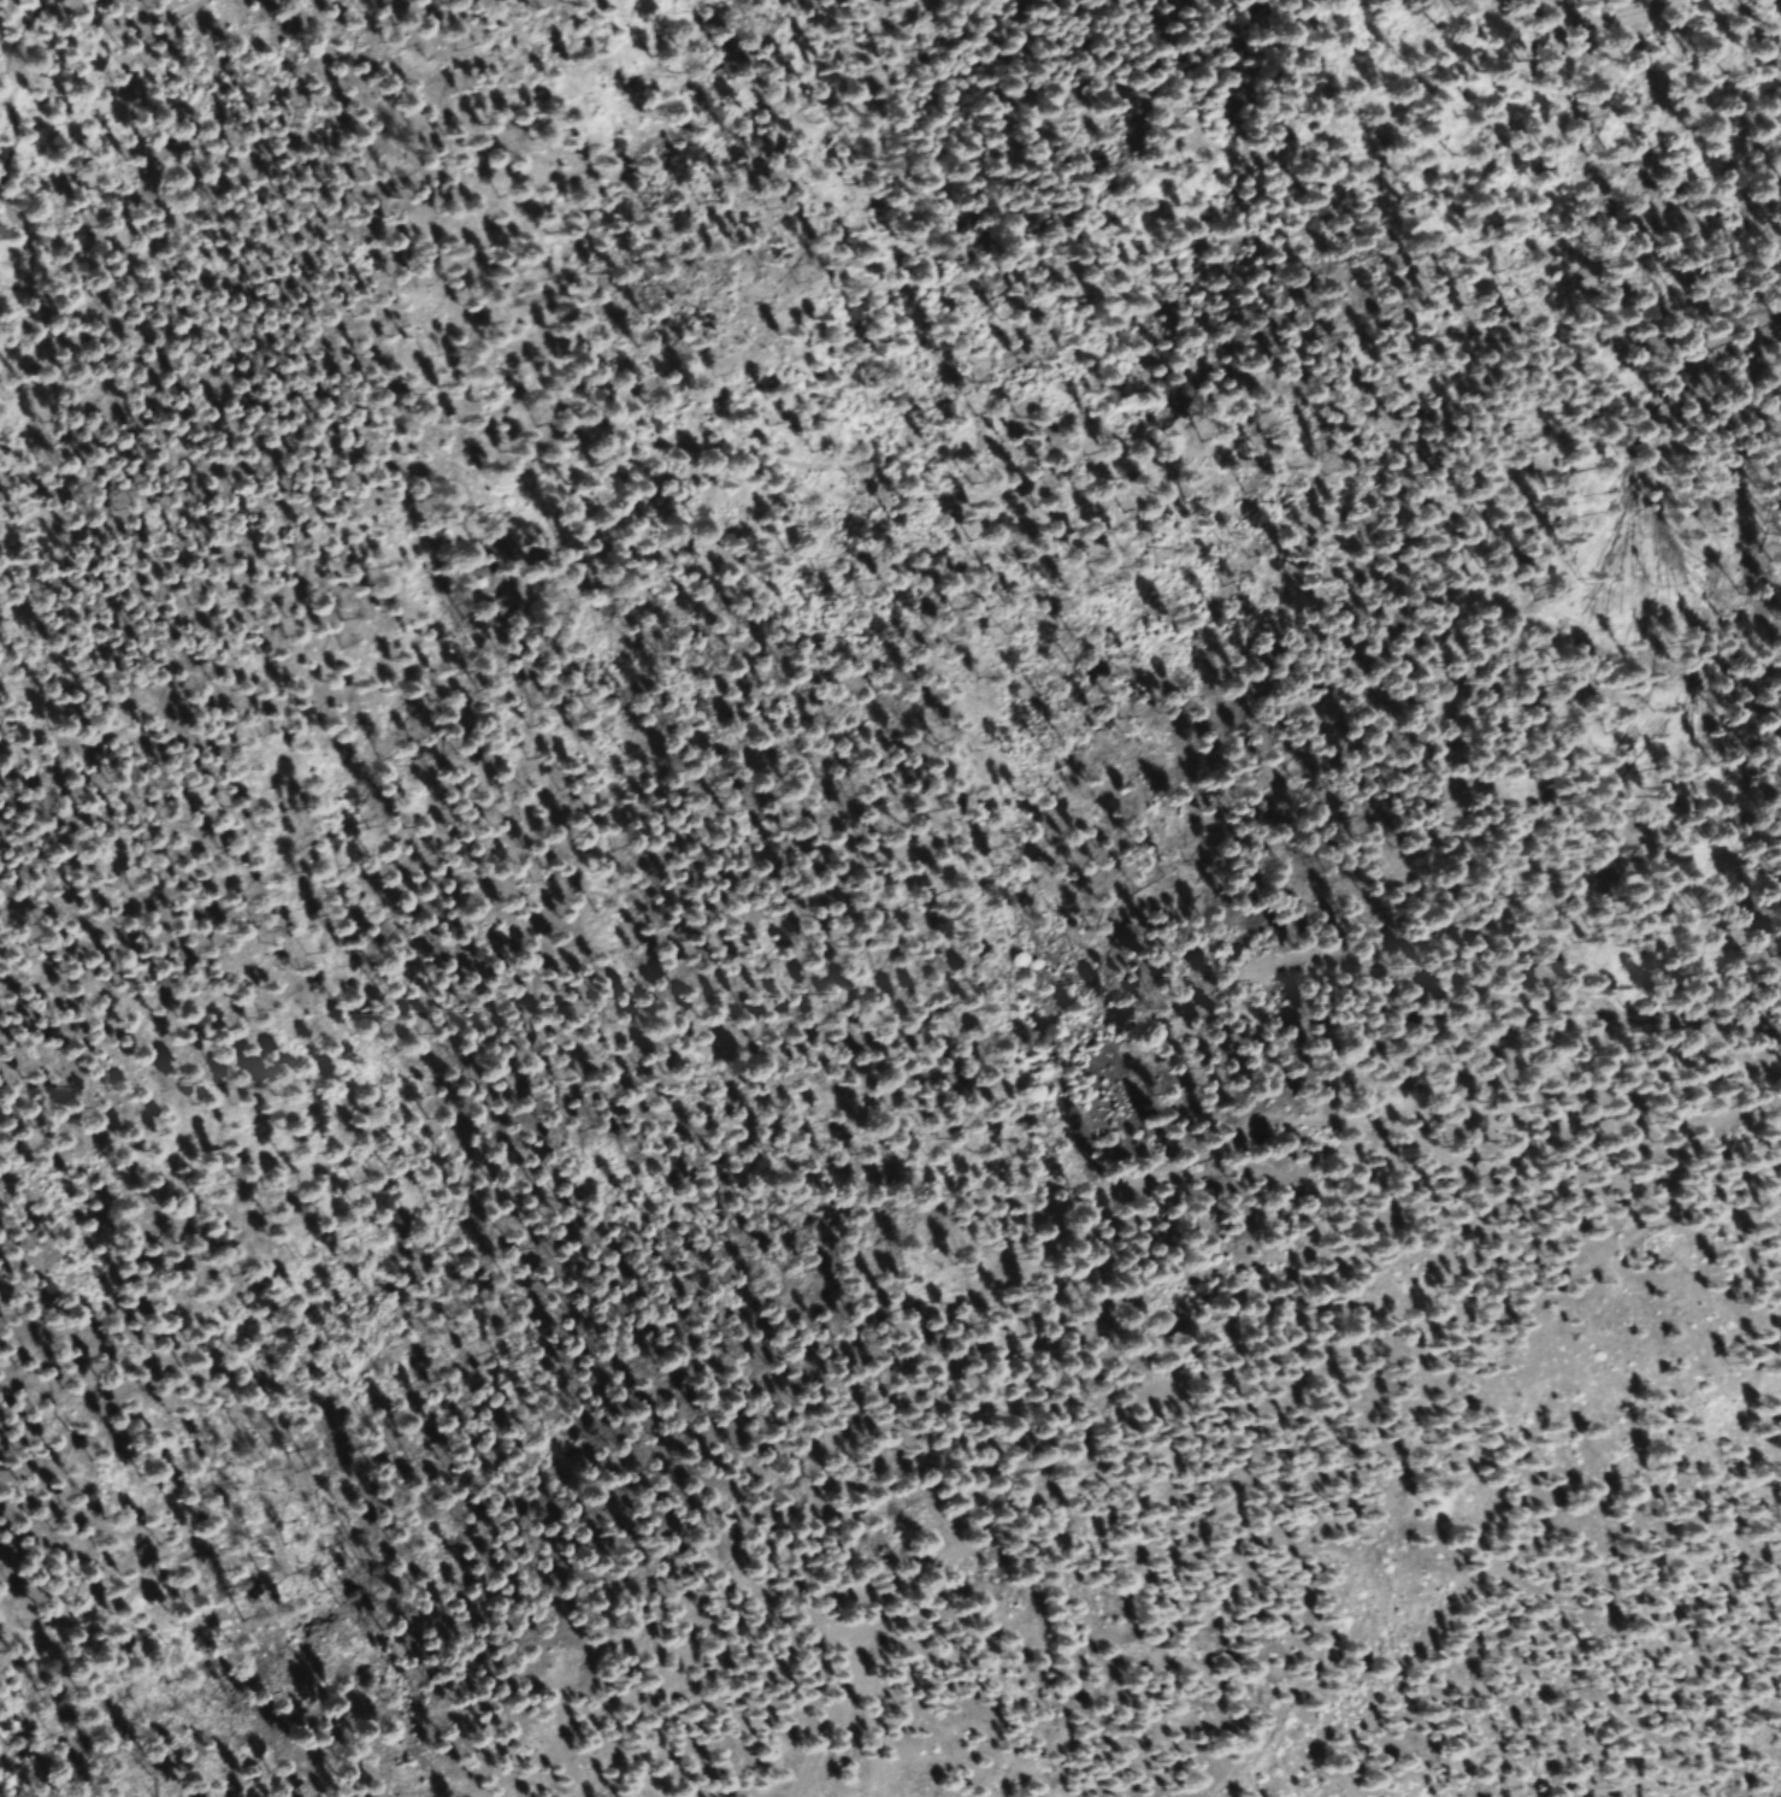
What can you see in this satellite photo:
road: (1603, 30)
mineshaft: (1231, 1273)
mineshaft: (1109, 1308)
mineshaft: (1499, 1339)
mineshaft: (1381, 1355)
mineshaft: (1160, 1362)
mineshaft: (1060, 1406)
mineshaft: (883, 1445)
mineshaft: (814, 1450)
mineshaft: (1245, 1453)
mineshaft: (1393, 1453)
mineshaft: (950, 1454)
mineshaft: (1098, 1503)
mineshaft: (950, 1528)
mineshaft: (838, 1538)
mineshaft: (1346, 1568)
mineshaft: (1117, 1577)
mineshaft: (1231, 1598)
mineshaft: (855, 1602)
mineshaft: (1130, 1692)
mineshaft: (926, 1726)

